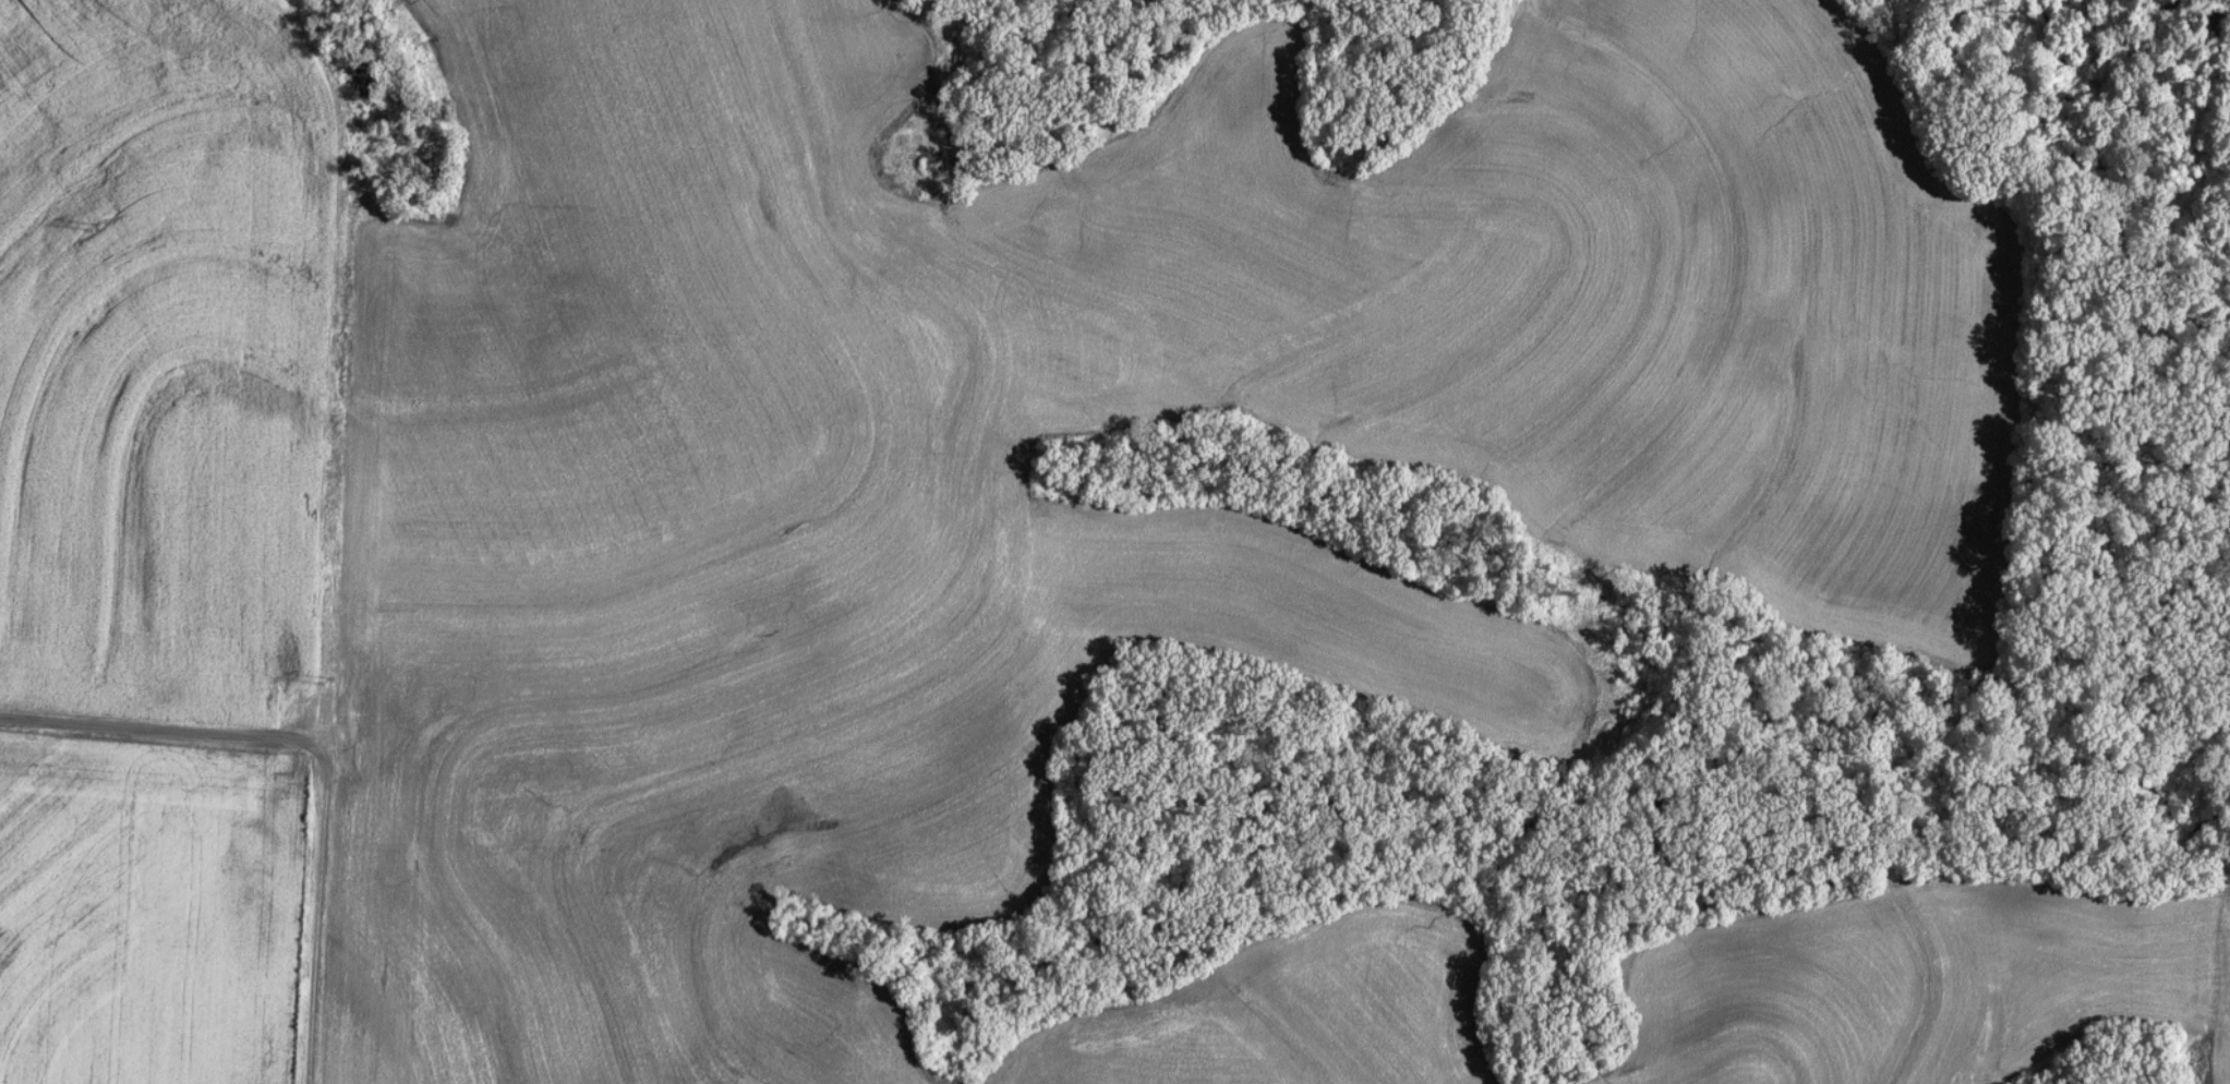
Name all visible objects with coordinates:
road: (107, 727)

